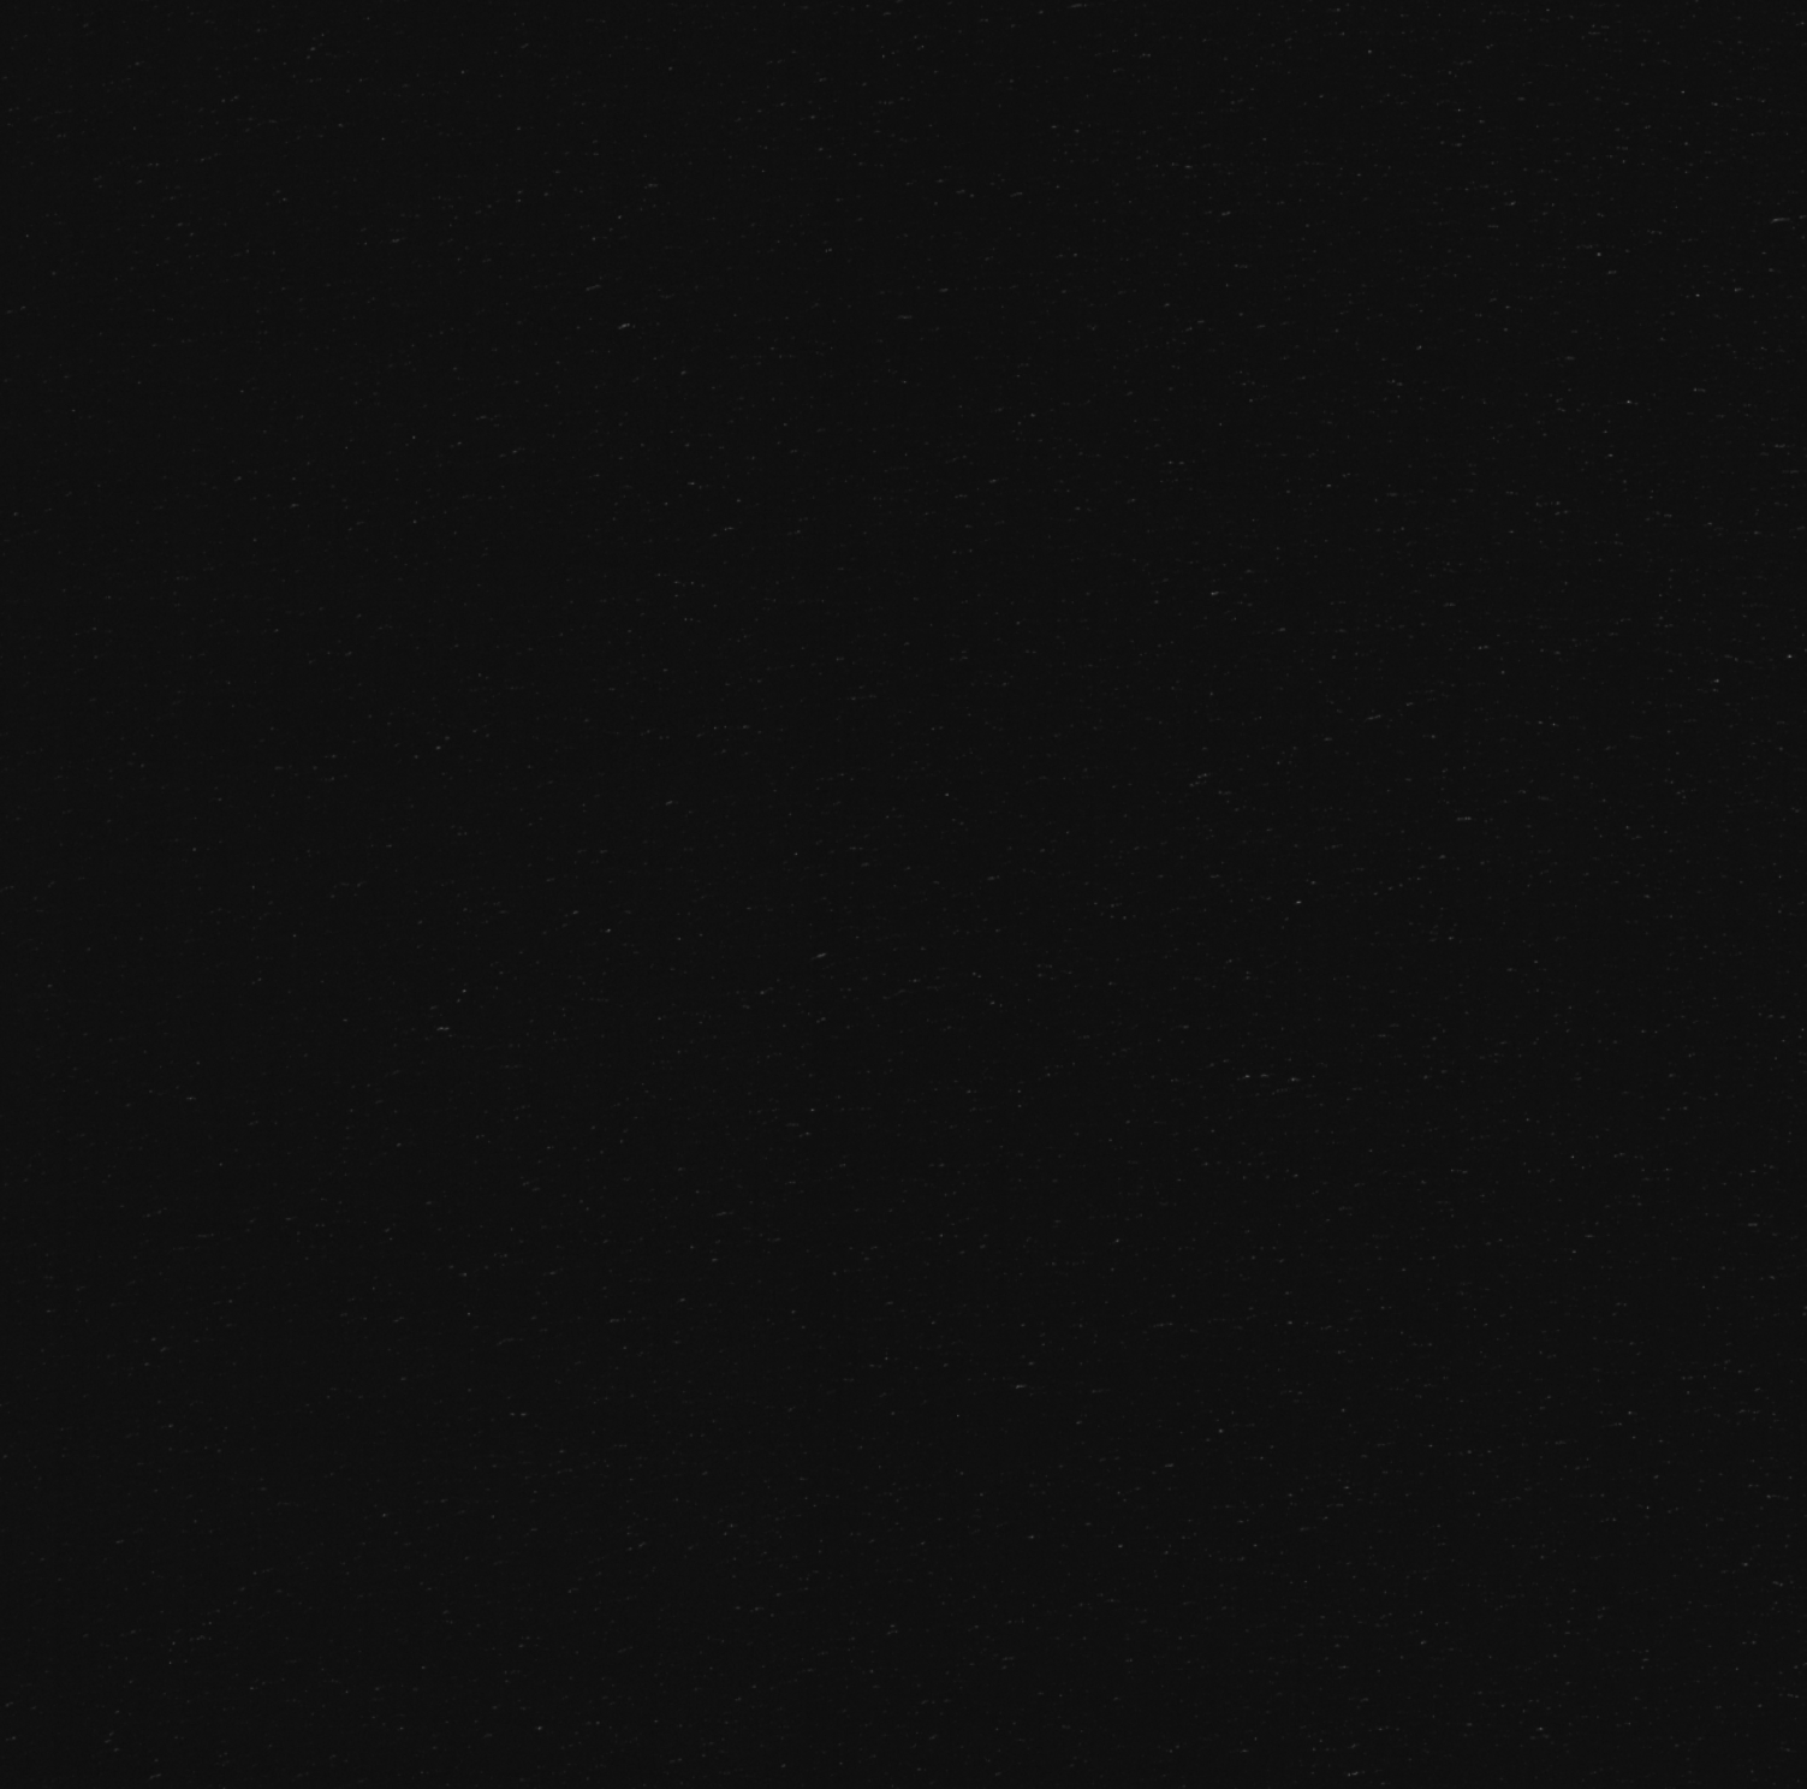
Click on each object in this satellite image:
river: (1536, 1533)

